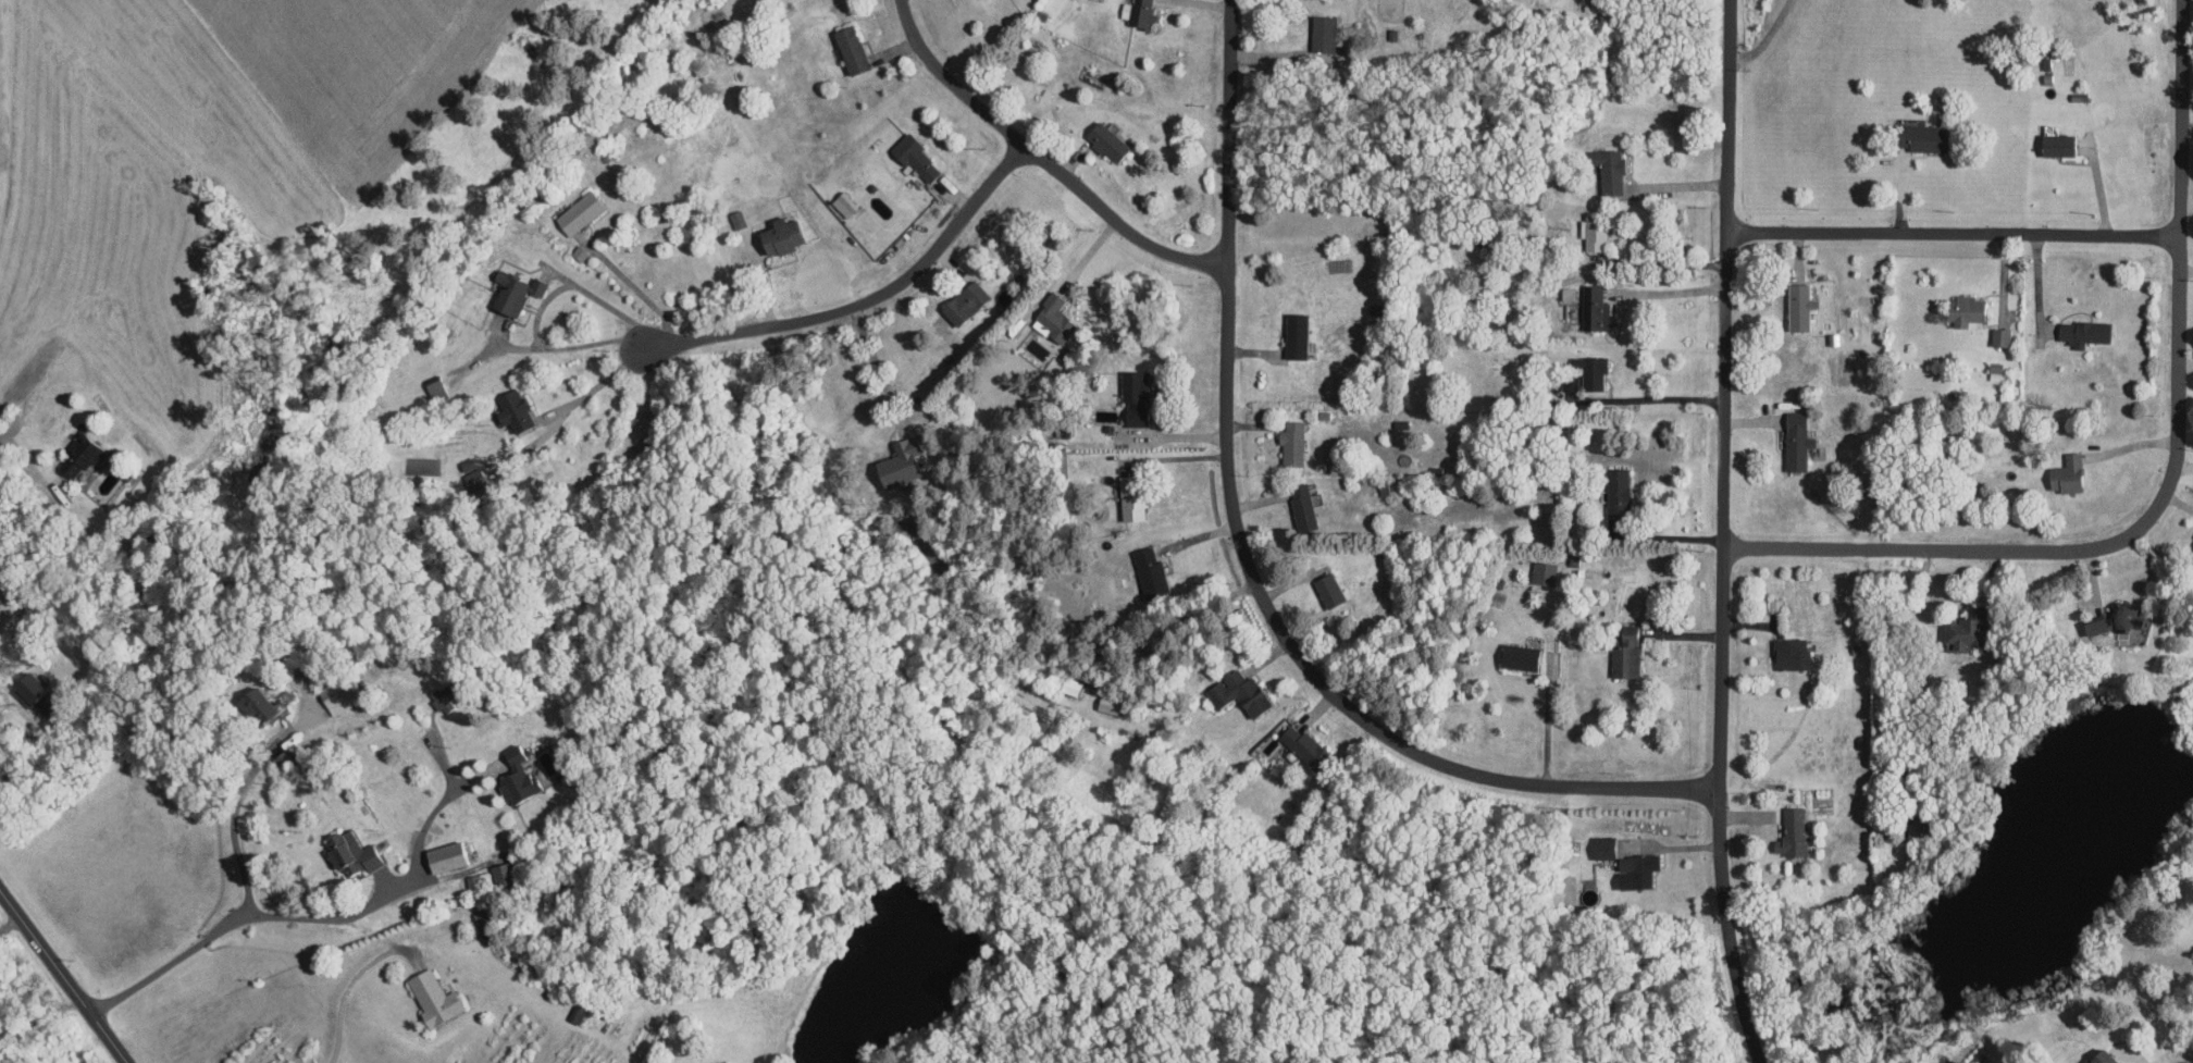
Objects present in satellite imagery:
building: (1127, 10)
building: (1143, 14)
building: (1322, 33)
road: (1767, 37)
building: (848, 48)
building: (1922, 137)
building: (1105, 140)
building: (2056, 144)
road: (1048, 154)
building: (915, 158)
building: (1608, 169)
road: (1676, 185)
building: (846, 200)
building: (579, 212)
building: (736, 219)
road: (1953, 231)
building: (1594, 234)
building: (778, 235)
building: (579, 252)
road: (1662, 262)
road: (2040, 285)
road: (635, 286)
road: (1670, 291)
building: (512, 292)
road: (869, 298)
building: (964, 301)
building: (1798, 306)
building: (1596, 308)
building: (1962, 309)
road: (540, 310)
building: (1051, 319)
building: (2082, 332)
building: (1294, 335)
building: (2000, 336)
road: (878, 361)
building: (1996, 370)
building: (1590, 371)
road: (598, 383)
building: (1569, 383)
building: (436, 388)
road: (1724, 393)
building: (1133, 396)
road: (1639, 398)
building: (511, 409)
building: (1795, 441)
building: (1291, 442)
road: (30, 450)
building: (75, 457)
building: (899, 463)
building: (2066, 473)
building: (473, 478)
road: (2169, 478)
building: (1616, 490)
building: (1301, 506)
building: (1131, 508)
road: (1670, 536)
building: (2192, 545)
road: (1248, 560)
building: (1149, 572)
building: (1544, 572)
building: (1327, 590)
building: (2127, 622)
building: (2093, 627)
building: (1626, 653)
building: (1791, 653)
building: (1519, 656)
road: (1881, 666)
building: (1068, 678)
building: (24, 688)
building: (1238, 692)
building: (336, 699)
building: (442, 701)
building: (1110, 703)
building: (255, 704)
road: (1548, 720)
dam: (2165, 724)
dam: (2186, 744)
building: (1304, 746)
road: (15, 753)
building: (516, 776)
road: (235, 816)
building: (1791, 832)
road: (1671, 845)
building: (1603, 846)
building: (350, 853)
building: (445, 855)
building: (1635, 870)
building: (500, 874)
building: (472, 880)
road: (282, 900)
road: (9, 922)
road: (1732, 926)
road: (62, 977)
road: (344, 993)
building: (432, 998)
building: (575, 1014)
building: (2101, 1058)

